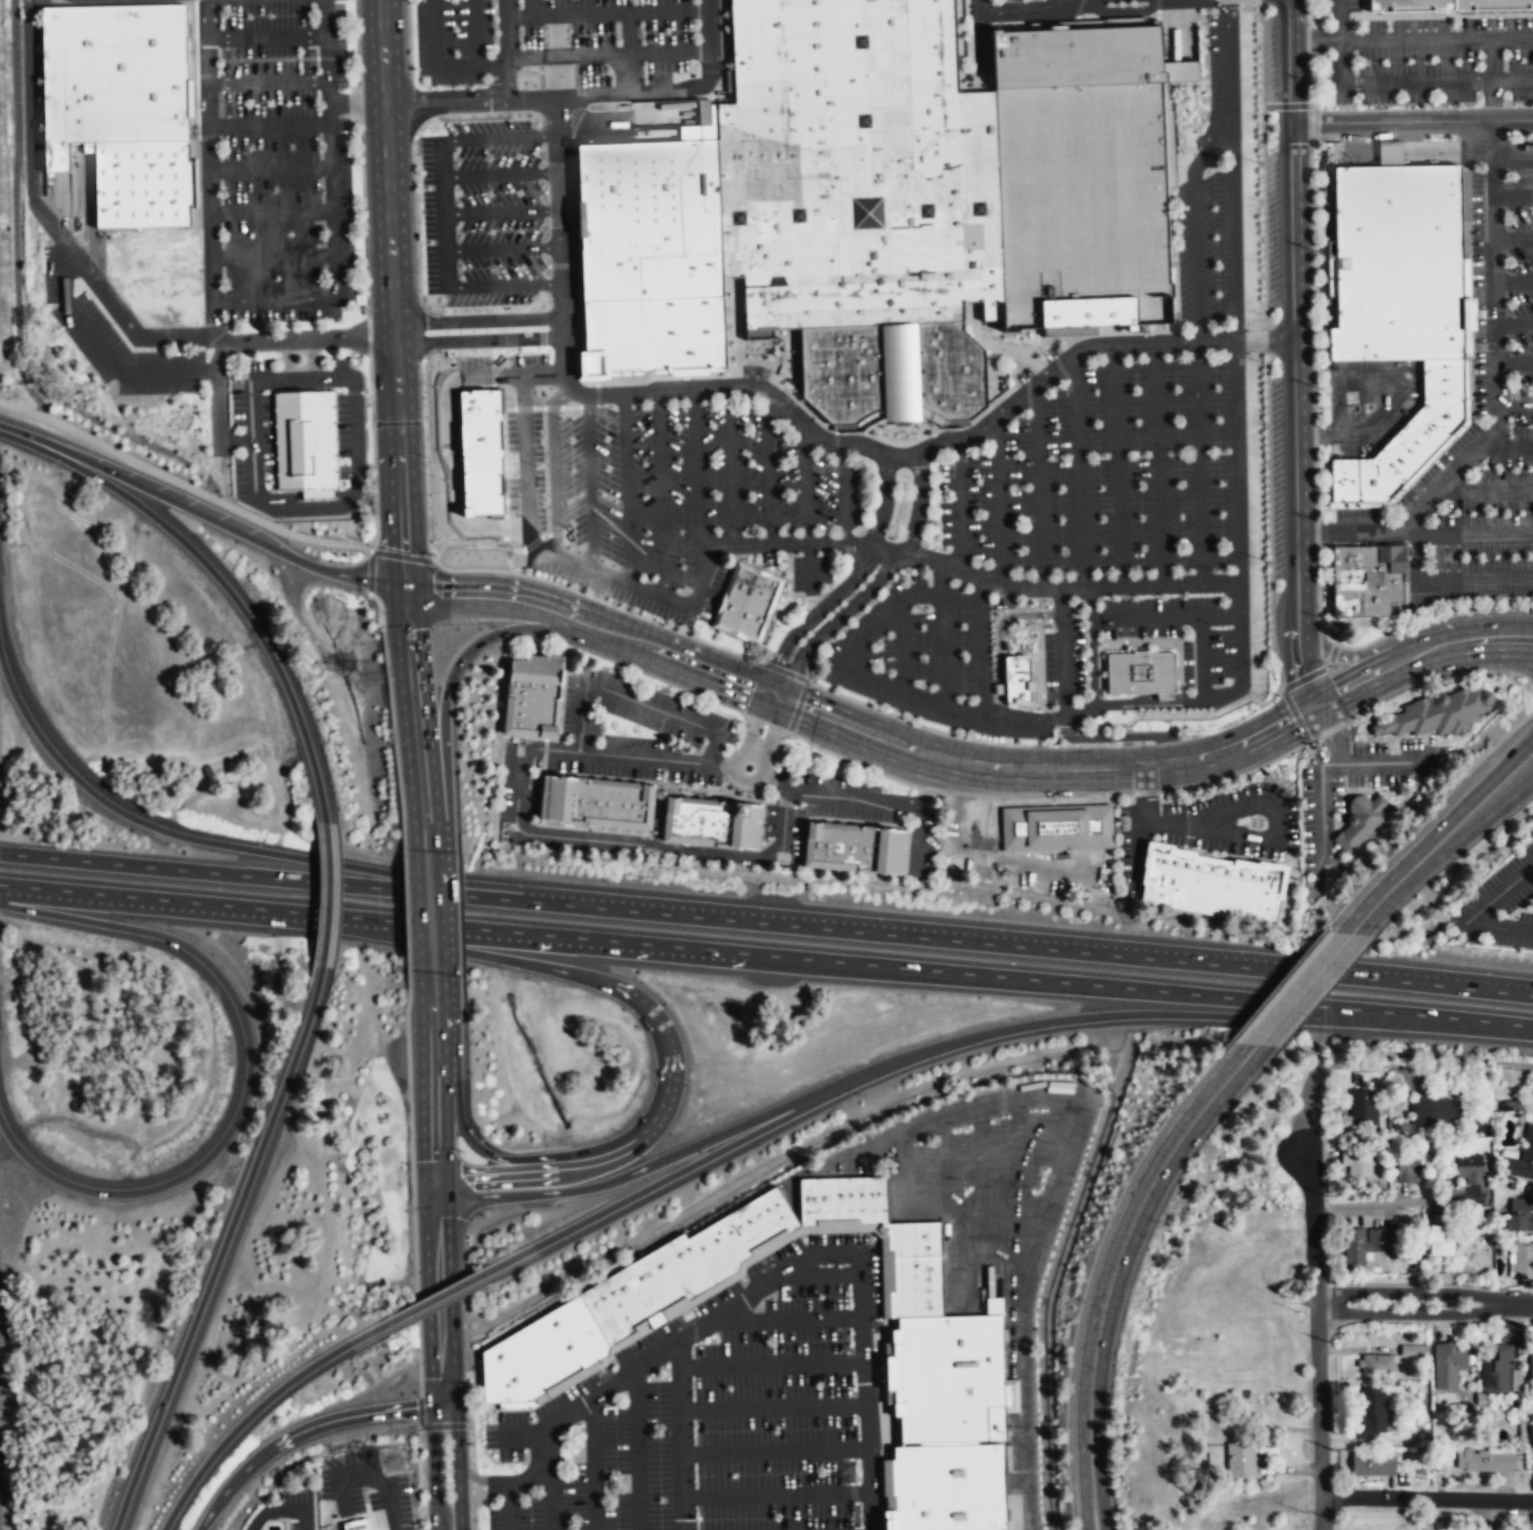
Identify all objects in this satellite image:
parking lot: (1004, 0)
road: (1054, 1)
road: (1257, 1)
building: (1411, 4)
building: (1492, 4)
road: (1012, 5)
road: (503, 8)
road: (669, 10)
road: (1020, 10)
road: (1123, 10)
road: (1307, 12)
road: (566, 14)
road: (1442, 14)
road: (1358, 15)
road: (1340, 17)
road: (1319, 18)
road: (1178, 27)
road: (980, 31)
road: (473, 32)
road: (629, 33)
road: (267, 36)
road: (1437, 38)
parking lot: (452, 39)
road: (1308, 39)
road: (1314, 40)
road: (408, 41)
parking lot: (604, 42)
road: (722, 48)
road: (669, 53)
road: (1259, 54)
road: (567, 55)
road: (504, 56)
road: (1288, 60)
street lamp: (411, 65)
road: (435, 65)
road: (630, 73)
building: (112, 76)
road: (1308, 78)
road: (1492, 79)
road: (268, 83)
road: (1395, 83)
street lamp: (1258, 90)
road: (644, 91)
road: (443, 98)
road: (356, 102)
road: (1288, 106)
road: (412, 109)
road: (1411, 120)
road: (1315, 122)
road: (269, 126)
road: (501, 136)
road: (1449, 149)
building: (1389, 152)
road: (443, 157)
road: (1513, 158)
parking lot: (274, 160)
road: (209, 166)
road: (270, 169)
road: (1233, 169)
road: (502, 174)
building: (1081, 175)
building: (141, 184)
street lamp: (1506, 185)
road: (444, 194)
road: (1513, 195)
building: (860, 200)
street lamp: (1260, 201)
road: (60, 205)
road: (331, 210)
parking lot: (485, 210)
road: (15, 211)
road: (503, 211)
road: (271, 213)
road: (91, 217)
road: (1262, 217)
road: (416, 218)
road: (1194, 227)
road: (445, 231)
road: (561, 233)
road: (1513, 237)
road: (504, 248)
road: (272, 255)
building: (648, 257)
road: (58, 261)
building: (1397, 261)
road: (446, 267)
street lamp: (1508, 270)
road: (1513, 280)
road: (1311, 281)
road: (505, 284)
road: (102, 290)
street lamp: (1262, 313)
road: (478, 320)
road: (1514, 325)
road: (420, 331)
road: (479, 339)
road: (1263, 339)
road: (1278, 339)
street lamp: (1508, 352)
road: (288, 358)
road: (1514, 362)
road: (312, 364)
building: (1332, 365)
road: (118, 368)
parking lot: (754, 371)
road: (485, 373)
building: (1443, 377)
road: (291, 378)
road: (219, 388)
road: (1395, 392)
road: (1495, 395)
road: (1514, 400)
parking lot: (1371, 402)
parking lot: (1476, 405)
road: (1294, 415)
road: (354, 416)
road: (398, 416)
street lamp: (1510, 423)
street lamp: (1263, 424)
road: (251, 429)
street lamp: (887, 434)
fountain: (901, 434)
street lamp: (916, 434)
road: (1315, 434)
road: (236, 440)
building: (304, 440)
street lamp: (677, 441)
road: (1506, 445)
building: (1408, 448)
building: (477, 449)
road: (527, 450)
road: (881, 453)
road: (1238, 461)
road: (424, 462)
road: (1198, 462)
road: (1158, 464)
road: (1118, 465)
road: (729, 467)
road: (697, 468)
road: (768, 468)
road: (554, 469)
road: (1079, 470)
parking lot: (1102, 475)
building: (1344, 479)
road: (589, 482)
road: (183, 483)
road: (805, 483)
road: (1315, 483)
road: (1039, 486)
road: (453, 487)
road: (626, 488)
street lamp: (903, 488)
road: (1486, 489)
road: (662, 493)
road: (844, 494)
parking lot: (687, 497)
road: (999, 501)
road: (959, 504)
road: (918, 505)
road: (312, 507)
street lamp: (1433, 512)
road: (200, 515)
road: (1268, 520)
parking lot: (1254, 527)
street lamp: (827, 529)
road: (1317, 533)
street lamp: (1266, 536)
road: (1474, 536)
road: (1415, 548)
road: (883, 549)
road: (736, 550)
road: (387, 554)
street lamp: (1426, 558)
road: (419, 559)
street lamp: (678, 559)
road: (810, 568)
road: (762, 570)
road: (369, 571)
parking lot: (810, 573)
road: (219, 579)
road: (788, 579)
road: (940, 579)
building: (1366, 579)
road: (1474, 580)
road: (848, 584)
road: (629, 585)
road: (1151, 585)
traffic signals: (406, 590)
road: (1038, 593)
road: (1317, 598)
road: (527, 600)
building: (749, 602)
road: (606, 603)
road: (1038, 604)
street lamp: (921, 607)
road: (1039, 614)
road: (1146, 617)
road: (1431, 617)
road: (1201, 618)
road: (834, 621)
road: (710, 623)
road: (1528, 634)
road: (999, 636)
road: (477, 642)
road: (982, 645)
street lamp: (1268, 645)
road: (902, 646)
road: (1091, 646)
road: (942, 649)
road: (1421, 653)
road: (1485, 654)
road: (1364, 656)
road: (1063, 658)
road: (1040, 667)
road: (783, 671)
road: (1242, 671)
building: (1140, 672)
road: (1314, 672)
road: (1436, 677)
building: (1016, 678)
power tower: (370, 683)
road: (904, 690)
building: (529, 693)
road: (1147, 696)
road: (797, 707)
road: (390, 708)
road: (583, 708)
road: (1294, 713)
building: (1438, 713)
road: (1181, 714)
road: (1052, 719)
road: (558, 721)
road: (756, 722)
road: (918, 725)
road: (771, 728)
road: (1074, 729)
road: (1330, 729)
road: (1067, 731)
road: (1334, 731)
road: (1057, 732)
road: (1131, 736)
road: (1311, 738)
road: (807, 742)
road: (1050, 742)
road: (774, 749)
road: (526, 755)
road: (543, 755)
road: (1506, 758)
road: (1389, 762)
road: (975, 763)
fountain: (748, 767)
road: (873, 770)
road: (1236, 775)
road: (598, 776)
road: (737, 777)
road: (1517, 777)
road: (965, 778)
road: (929, 781)
road: (928, 788)
road: (944, 791)
road: (1145, 791)
road: (962, 793)
road: (1143, 793)
road: (1185, 793)
road: (1053, 794)
building: (594, 799)
road: (870, 800)
road: (1320, 813)
road: (1427, 818)
building: (1360, 819)
building: (707, 820)
road: (1169, 821)
road: (1187, 821)
road: (1275, 821)
road: (783, 823)
building: (1055, 826)
road: (593, 829)
road: (644, 839)
road: (1439, 841)
building: (851, 845)
road: (242, 847)
road: (906, 851)
road: (1136, 853)
parking lot: (1018, 857)
road: (438, 858)
road: (1008, 862)
road: (427, 874)
road: (281, 878)
building: (1210, 882)
road: (327, 893)
road: (405, 898)
road: (186, 904)
road: (1475, 915)
road: (1047, 946)
road: (431, 954)
road: (909, 968)
road: (586, 978)
road: (1276, 986)
road: (1304, 989)
road: (1040, 1022)
road: (1489, 1022)
road: (249, 1073)
road: (434, 1075)
street lamp: (1292, 1080)
building: (1364, 1108)
building: (1437, 1113)
road: (465, 1131)
road: (410, 1135)
building: (1520, 1157)
road: (981, 1158)
road: (535, 1159)
building: (1356, 1160)
road: (941, 1162)
road: (1019, 1165)
building: (1410, 1166)
building: (1469, 1167)
road: (675, 1174)
parking lot: (980, 1181)
road: (512, 1194)
traffic signals: (438, 1199)
building: (840, 1199)
road: (933, 1199)
road: (1047, 1199)
road: (1372, 1206)
building: (1519, 1214)
road: (800, 1230)
building: (911, 1238)
building: (1440, 1239)
building: (1364, 1243)
road: (221, 1248)
road: (810, 1255)
building: (1523, 1259)
building: (682, 1265)
road: (1091, 1266)
road: (1115, 1267)
road: (821, 1273)
road: (439, 1283)
building: (913, 1285)
road: (438, 1297)
street lamp: (1083, 1301)
road: (1424, 1301)
road: (786, 1318)
road: (1318, 1338)
street lamp: (1329, 1341)
building: (1413, 1350)
building: (538, 1353)
road: (417, 1357)
road: (771, 1364)
building: (1374, 1364)
building: (1448, 1364)
building: (1531, 1366)
building: (1497, 1369)
building: (945, 1376)
road: (593, 1397)
road: (257, 1407)
traffic signals: (441, 1407)
road: (773, 1407)
road: (418, 1411)
parking lot: (718, 1412)
building: (1369, 1415)
road: (442, 1425)
road: (299, 1431)
road: (681, 1434)
road: (469, 1437)
road: (867, 1445)
road: (636, 1449)
road: (775, 1451)
building: (1241, 1460)
power tower: (394, 1461)
building: (1485, 1461)
road: (593, 1464)
building: (1372, 1464)
road: (457, 1466)
road: (431, 1468)
road: (538, 1471)
road: (368, 1476)
road: (479, 1477)
road: (419, 1478)
road: (476, 1486)
building: (945, 1487)
road: (550, 1493)
road: (776, 1494)
road: (478, 1495)
road: (1427, 1498)
road: (481, 1501)
road: (506, 1507)
parking lot: (296, 1508)
street lamp: (1073, 1509)
road: (283, 1511)
road: (1484, 1515)
road: (475, 1516)
street lamp: (1333, 1517)
building: (356, 1524)

